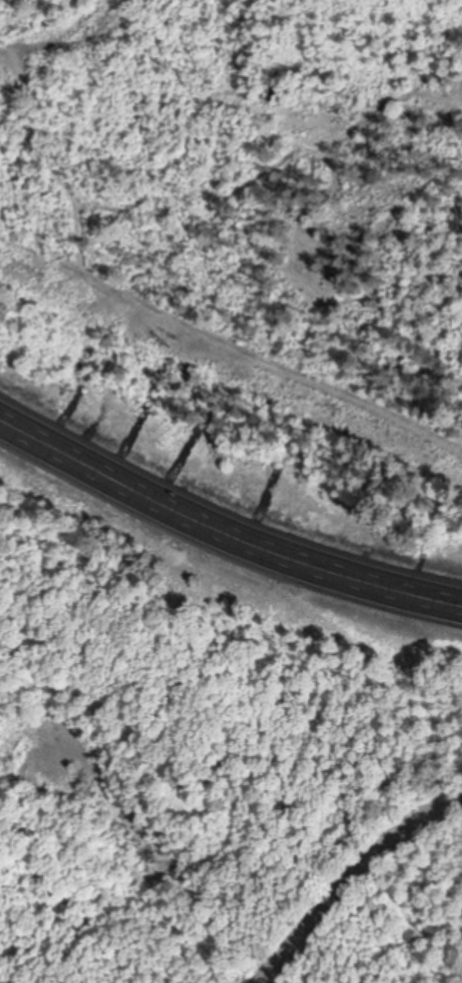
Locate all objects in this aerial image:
road: (223, 531)
road: (358, 883)

